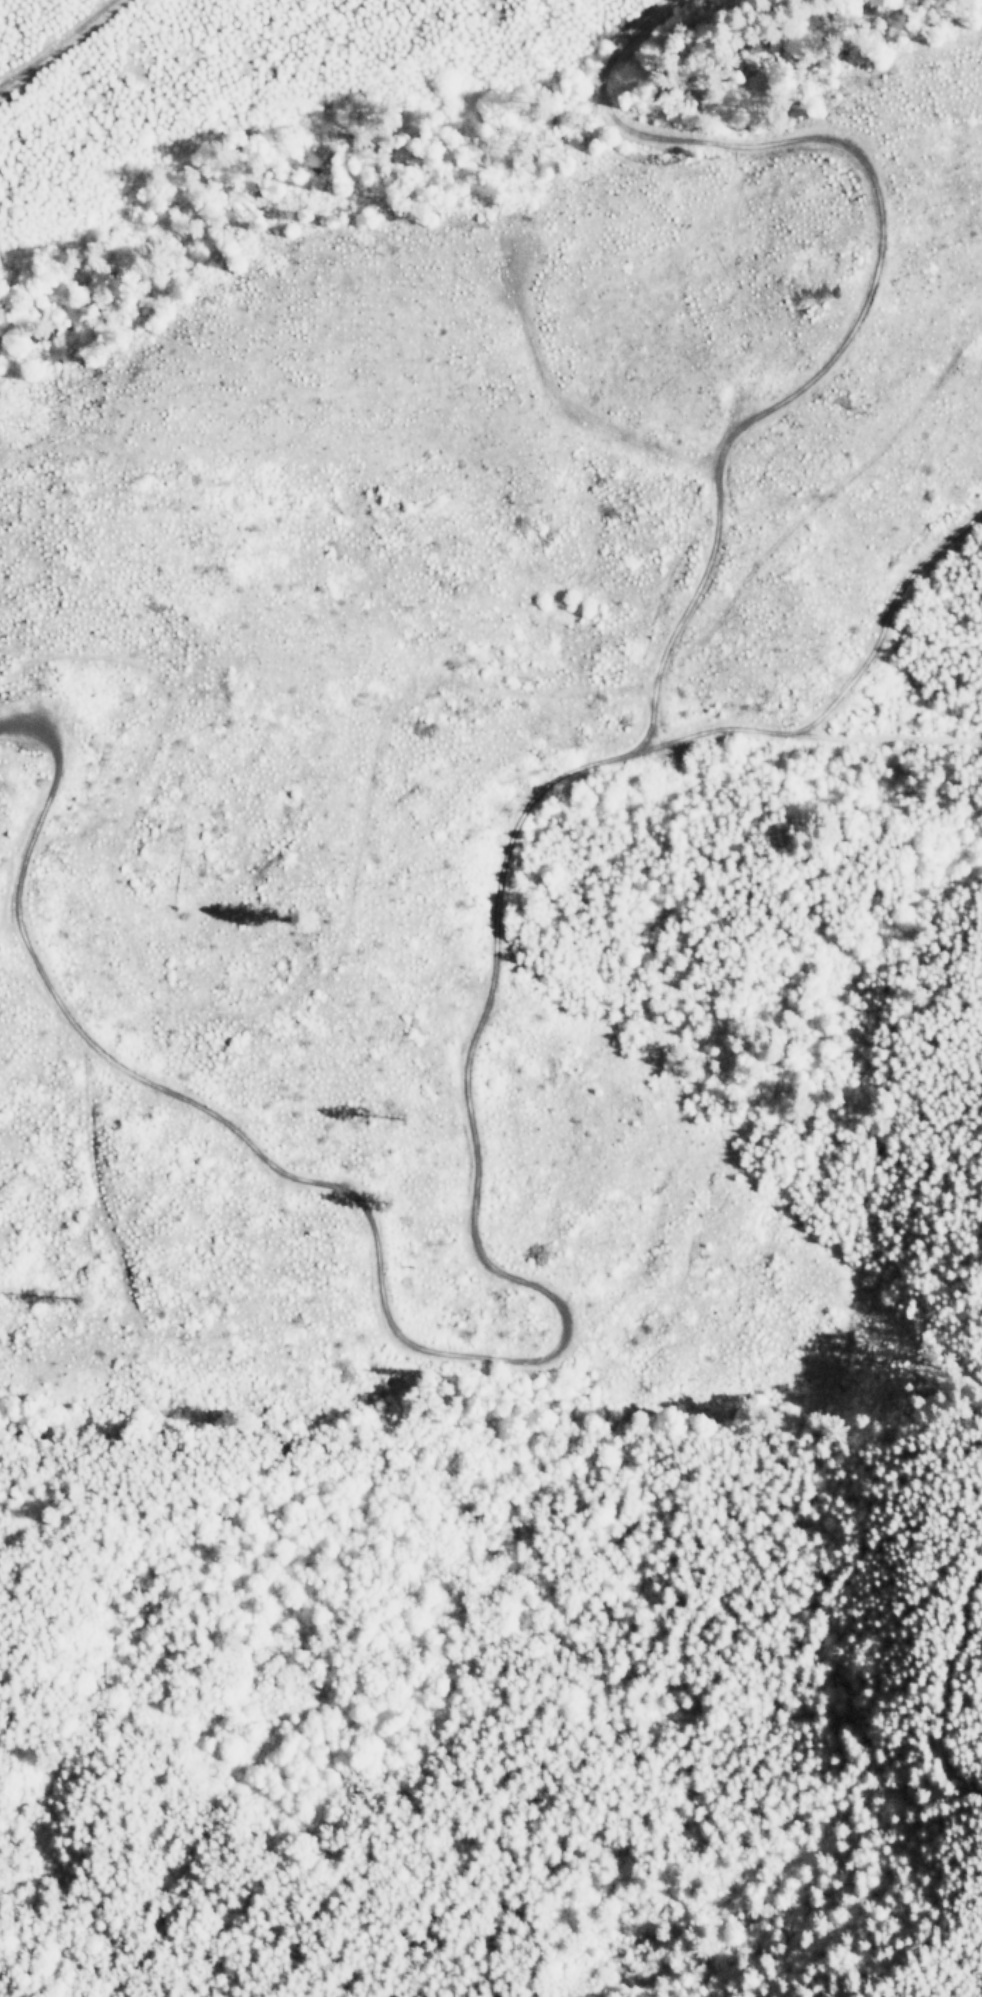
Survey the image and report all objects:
road: (57, 45)
road: (870, 270)
road: (898, 623)
road: (733, 737)
road: (896, 740)
road: (422, 1356)

